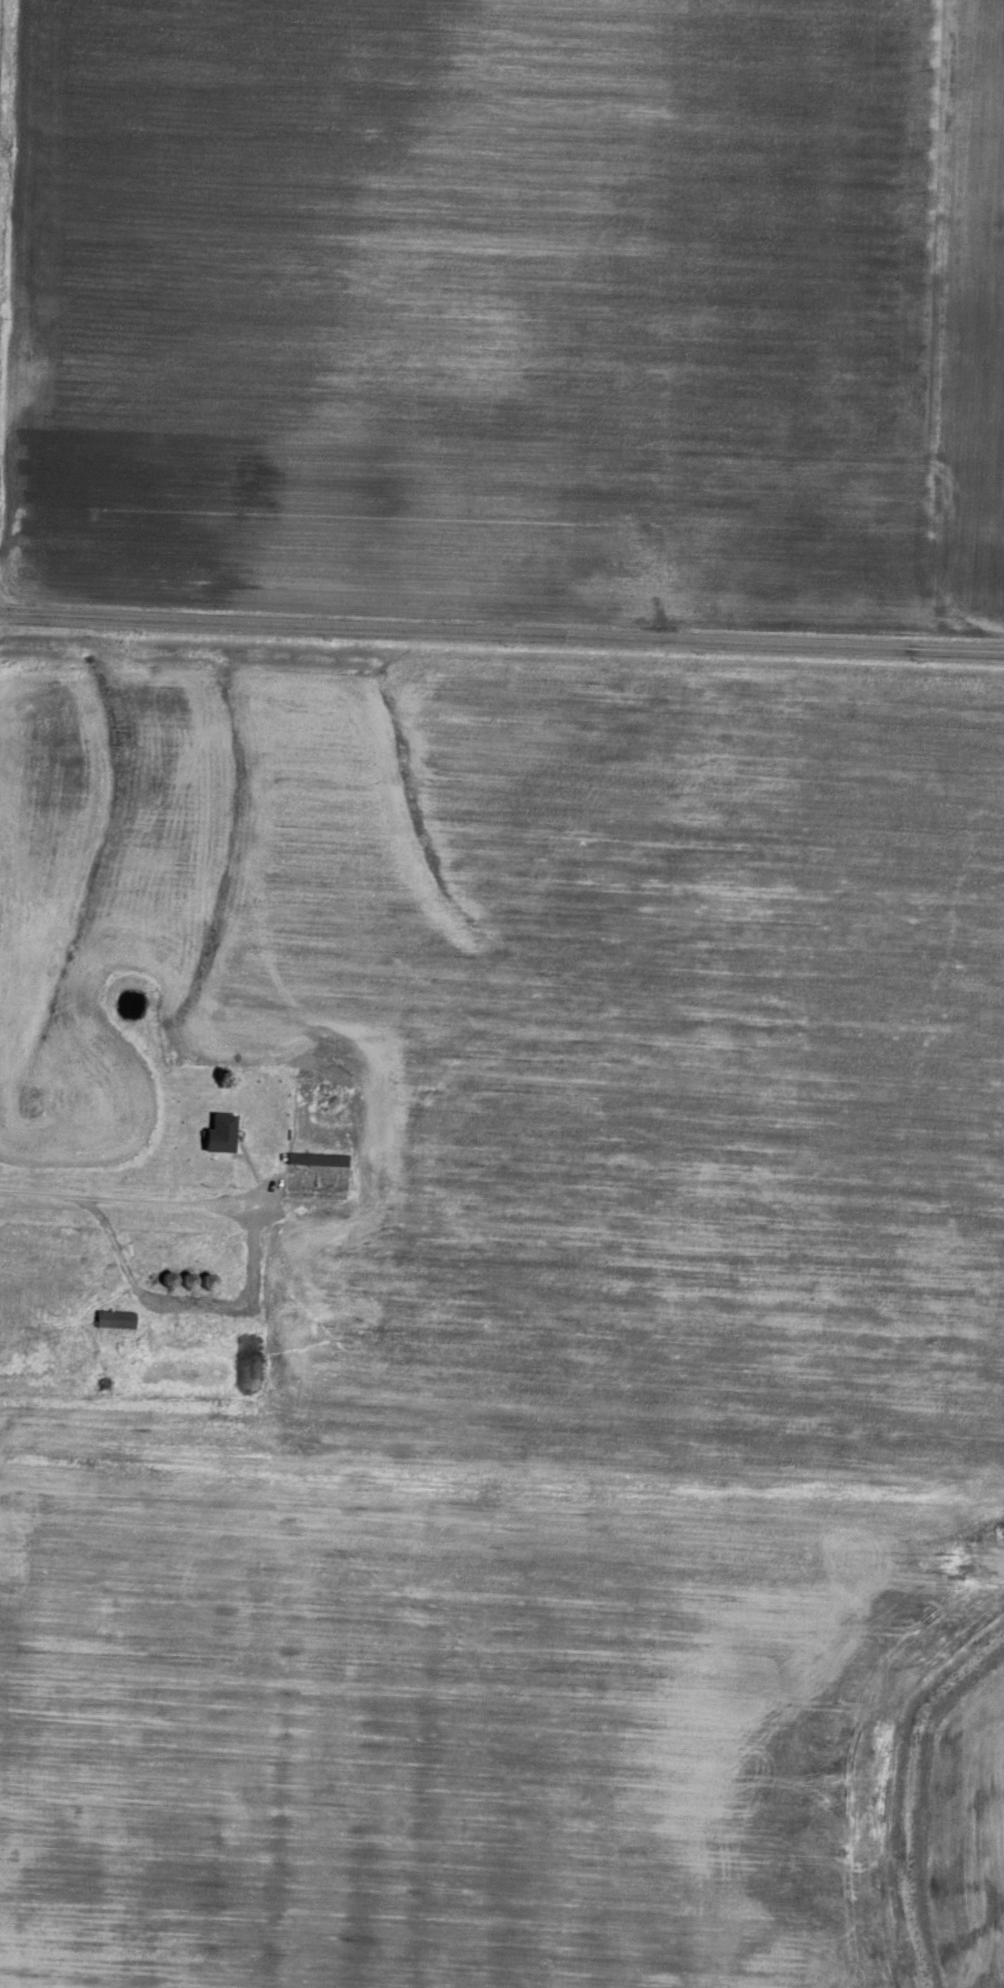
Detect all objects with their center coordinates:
road: (502, 630)
building: (224, 1130)
building: (318, 1156)
road: (40, 1194)
road: (249, 1287)
building: (117, 1316)

